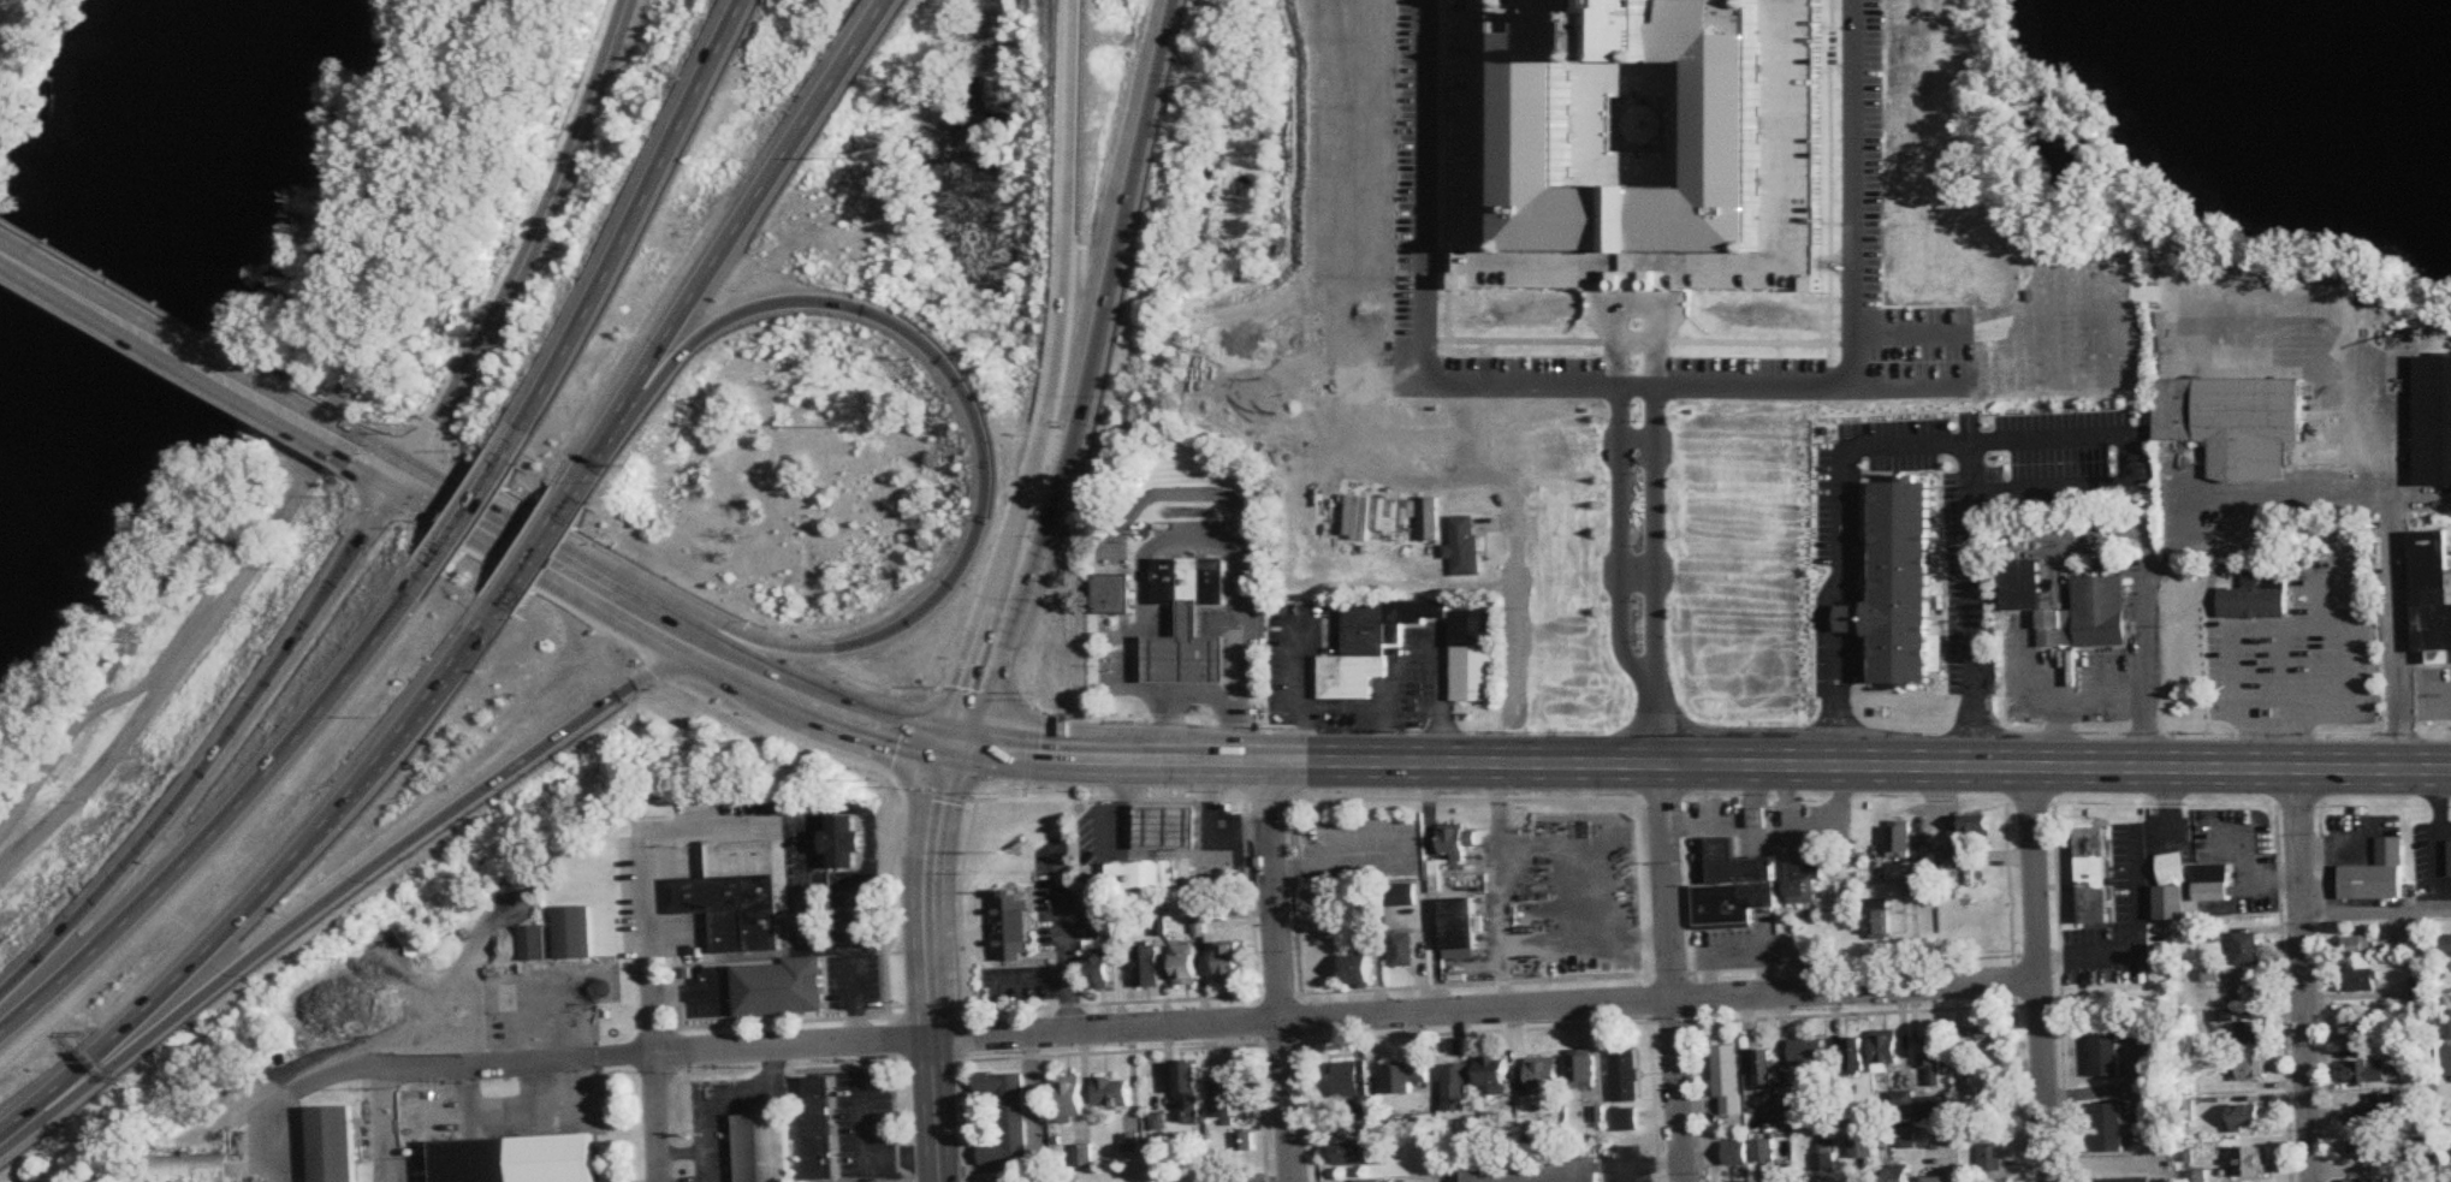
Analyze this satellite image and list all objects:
building: (1656, 153)
road: (1430, 192)
road: (1858, 192)
road: (639, 231)
river: (144, 236)
road: (539, 248)
road: (731, 248)
road: (2155, 297)
road: (186, 320)
road: (183, 350)
road: (1957, 360)
road: (1057, 378)
road: (1093, 379)
road: (1644, 388)
building: (2233, 422)
building: (2433, 422)
road: (406, 428)
road: (985, 430)
road: (1471, 432)
road: (292, 446)
road: (2126, 452)
road: (384, 467)
road: (313, 468)
traffic signals: (403, 477)
road: (1435, 479)
road: (1192, 495)
road: (477, 510)
building: (1429, 519)
road: (1839, 537)
road: (2171, 537)
road: (515, 539)
building: (1464, 546)
road: (1185, 548)
road: (538, 551)
road: (2392, 566)
road: (1643, 578)
building: (1191, 580)
building: (1900, 584)
building: (1111, 594)
building: (2099, 594)
building: (2256, 596)
building: (2432, 600)
road: (1971, 622)
road: (1515, 624)
road: (666, 628)
building: (1370, 642)
building: (1188, 651)
road: (1418, 651)
building: (1473, 657)
road: (1299, 691)
road: (1192, 696)
road: (2069, 702)
road: (1342, 706)
road: (827, 708)
traffic signals: (957, 743)
road: (221, 753)
road: (1703, 767)
road: (236, 814)
building: (1169, 826)
building: (1900, 838)
building: (1965, 838)
building: (843, 843)
building: (1448, 848)
building: (2449, 859)
building: (1145, 873)
building: (2375, 874)
building: (2093, 875)
building: (1803, 883)
building: (2212, 884)
building: (1733, 887)
building: (2170, 887)
road: (271, 890)
road: (344, 891)
building: (1402, 895)
building: (747, 896)
road: (2376, 914)
building: (1879, 920)
building: (1011, 926)
building: (1458, 928)
building: (575, 932)
road: (1064, 935)
road: (2138, 940)
building: (534, 943)
building: (2444, 945)
building: (2354, 946)
building: (1403, 949)
building: (2247, 949)
road: (855, 961)
road: (927, 961)
building: (1229, 962)
building: (1146, 966)
building: (1186, 966)
building: (1363, 970)
road: (1278, 972)
building: (1100, 973)
road: (1670, 974)
road: (2040, 974)
road: (1027, 975)
road: (2305, 976)
building: (2360, 980)
building: (2248, 990)
building: (779, 994)
road: (655, 1021)
road: (1143, 1027)
building: (2253, 1033)
building: (2356, 1033)
building: (1977, 1035)
building: (1886, 1047)
building: (2106, 1051)
building: (1806, 1053)
building: (1853, 1055)
building: (1930, 1063)
building: (2251, 1068)
building: (1764, 1069)
building: (1583, 1070)
building: (2373, 1071)
building: (1544, 1075)
building: (1625, 1075)
building: (1494, 1076)
building: (1407, 1079)
building: (1351, 1080)
building: (1727, 1080)
building: (1230, 1083)
building: (1975, 1083)
building: (1458, 1088)
building: (1187, 1091)
building: (1112, 1093)
building: (1070, 1098)
building: (1900, 1105)
building: (1221, 1110)
building: (1934, 1110)
building: (2378, 1110)
building: (2247, 1116)
building: (1005, 1118)
building: (1626, 1119)
road: (385, 1125)
road: (877, 1127)
building: (2108, 1127)
building: (812, 1131)
building: (1906, 1139)
building: (1244, 1141)
building: (332, 1144)
building: (1129, 1144)
building: (1859, 1145)
building: (764, 1147)
building: (2370, 1147)
building: (1762, 1148)
building: (1352, 1153)
building: (1084, 1158)
building: (1989, 1158)
building: (515, 1159)
building: (2253, 1162)
road: (1645, 1166)
building: (178, 1168)
building: (1535, 1171)
building: (1899, 1177)
building: (1236, 1180)
building: (1937, 1180)
building: (2124, 1180)
building: (1067, 1181)
building: (1366, 1181)
building: (2368, 1181)

